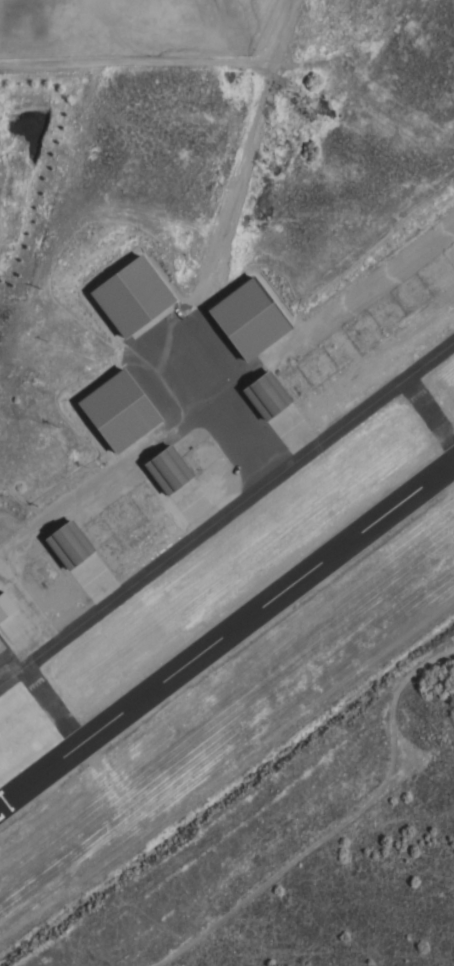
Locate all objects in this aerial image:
airport hangar: (128, 295)
building: (128, 295)
airport hangar: (245, 318)
building: (245, 318)
airport hangar: (265, 395)
building: (265, 395)
airport taxiway: (214, 403)
airport hangar: (115, 410)
building: (115, 410)
airport taxiway: (428, 416)
airport: (220, 439)
airport hangar: (166, 469)
building: (166, 469)
airport taxiway: (227, 511)
airport hangar: (68, 545)
building: (68, 545)
airport hangar: (5, 606)
building: (5, 606)
road: (36, 619)
airport runway: (226, 629)
airport taxiway: (46, 705)

